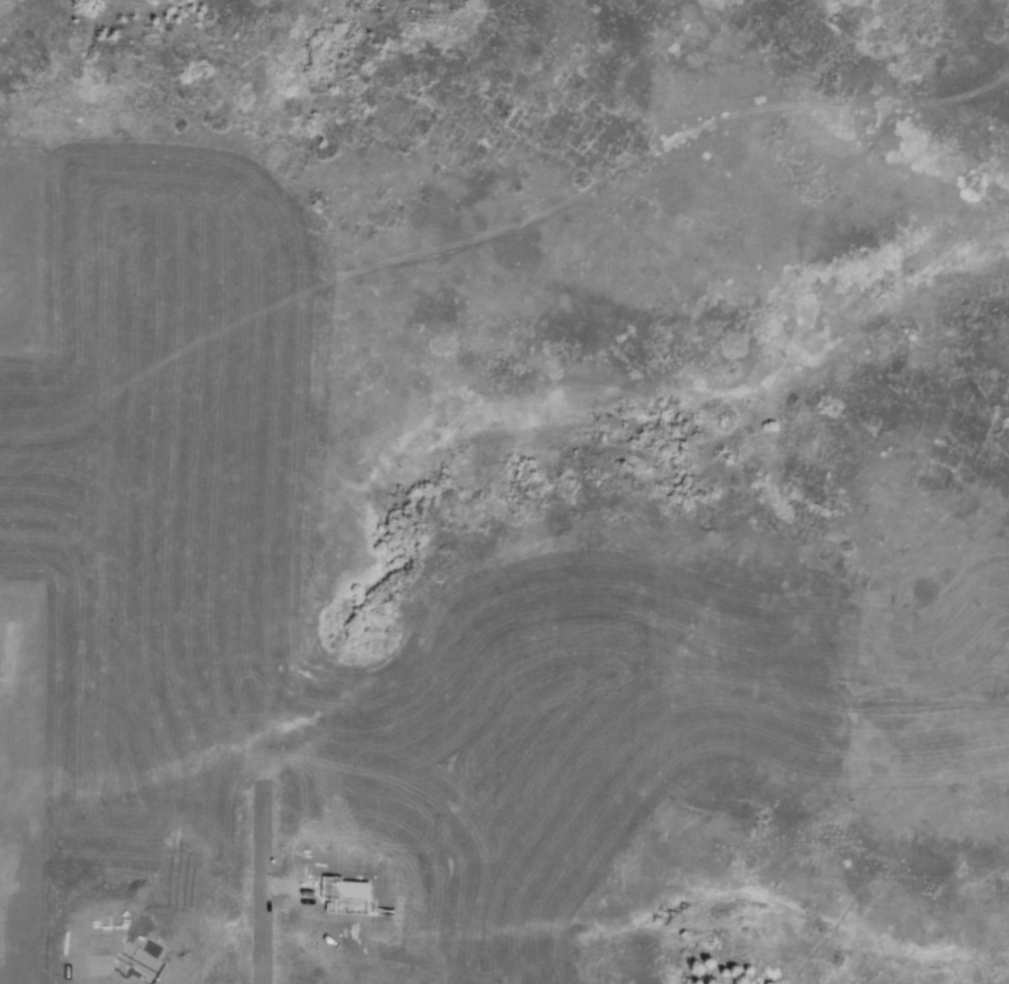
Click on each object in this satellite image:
road: (257, 886)

